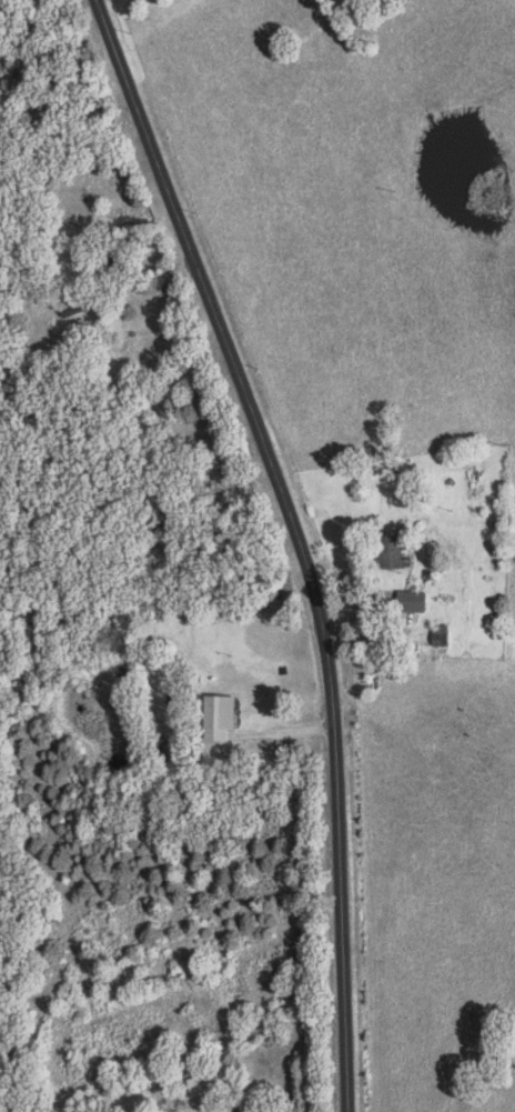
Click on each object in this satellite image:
road: (294, 540)
building: (415, 600)
building: (222, 714)

